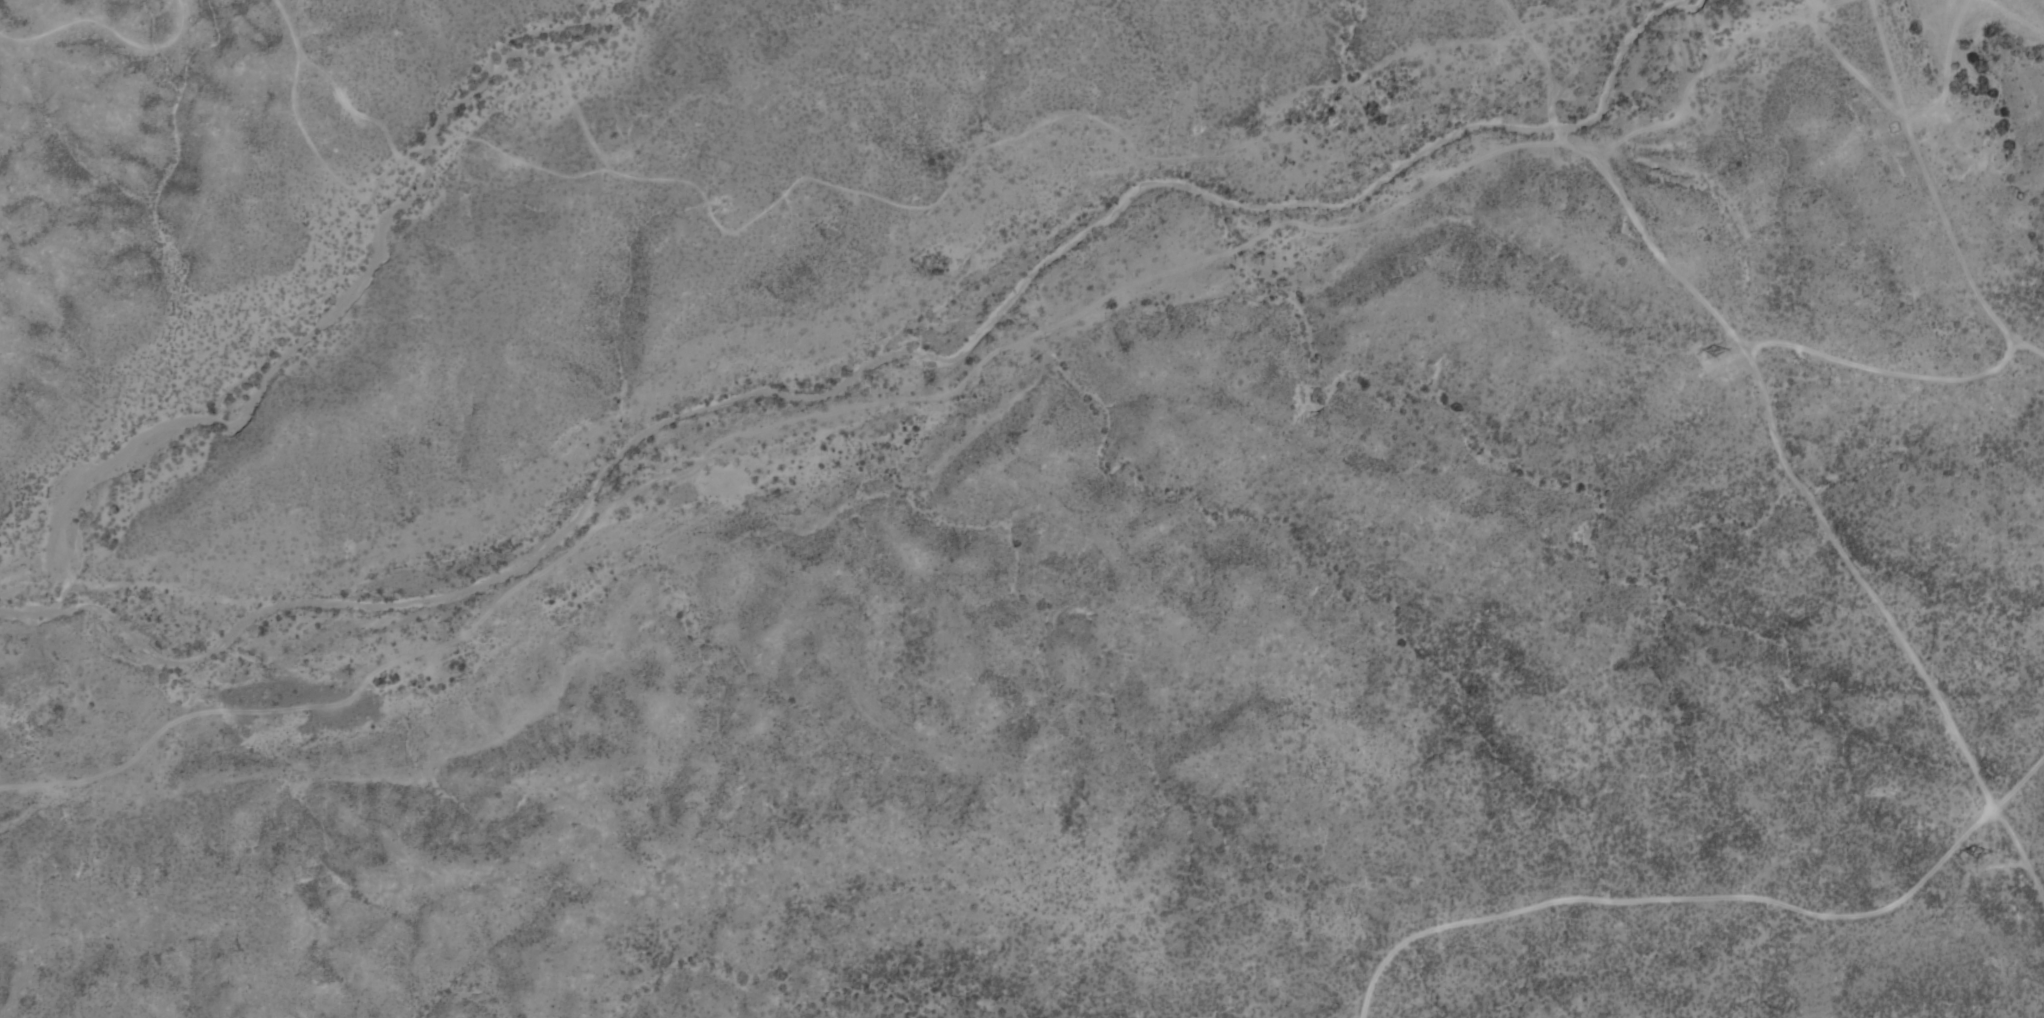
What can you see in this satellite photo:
dam: (1888, 52)
road: (1925, 176)
power tower: (1721, 353)
road: (1773, 437)
power tower: (1986, 856)
road: (1707, 896)

